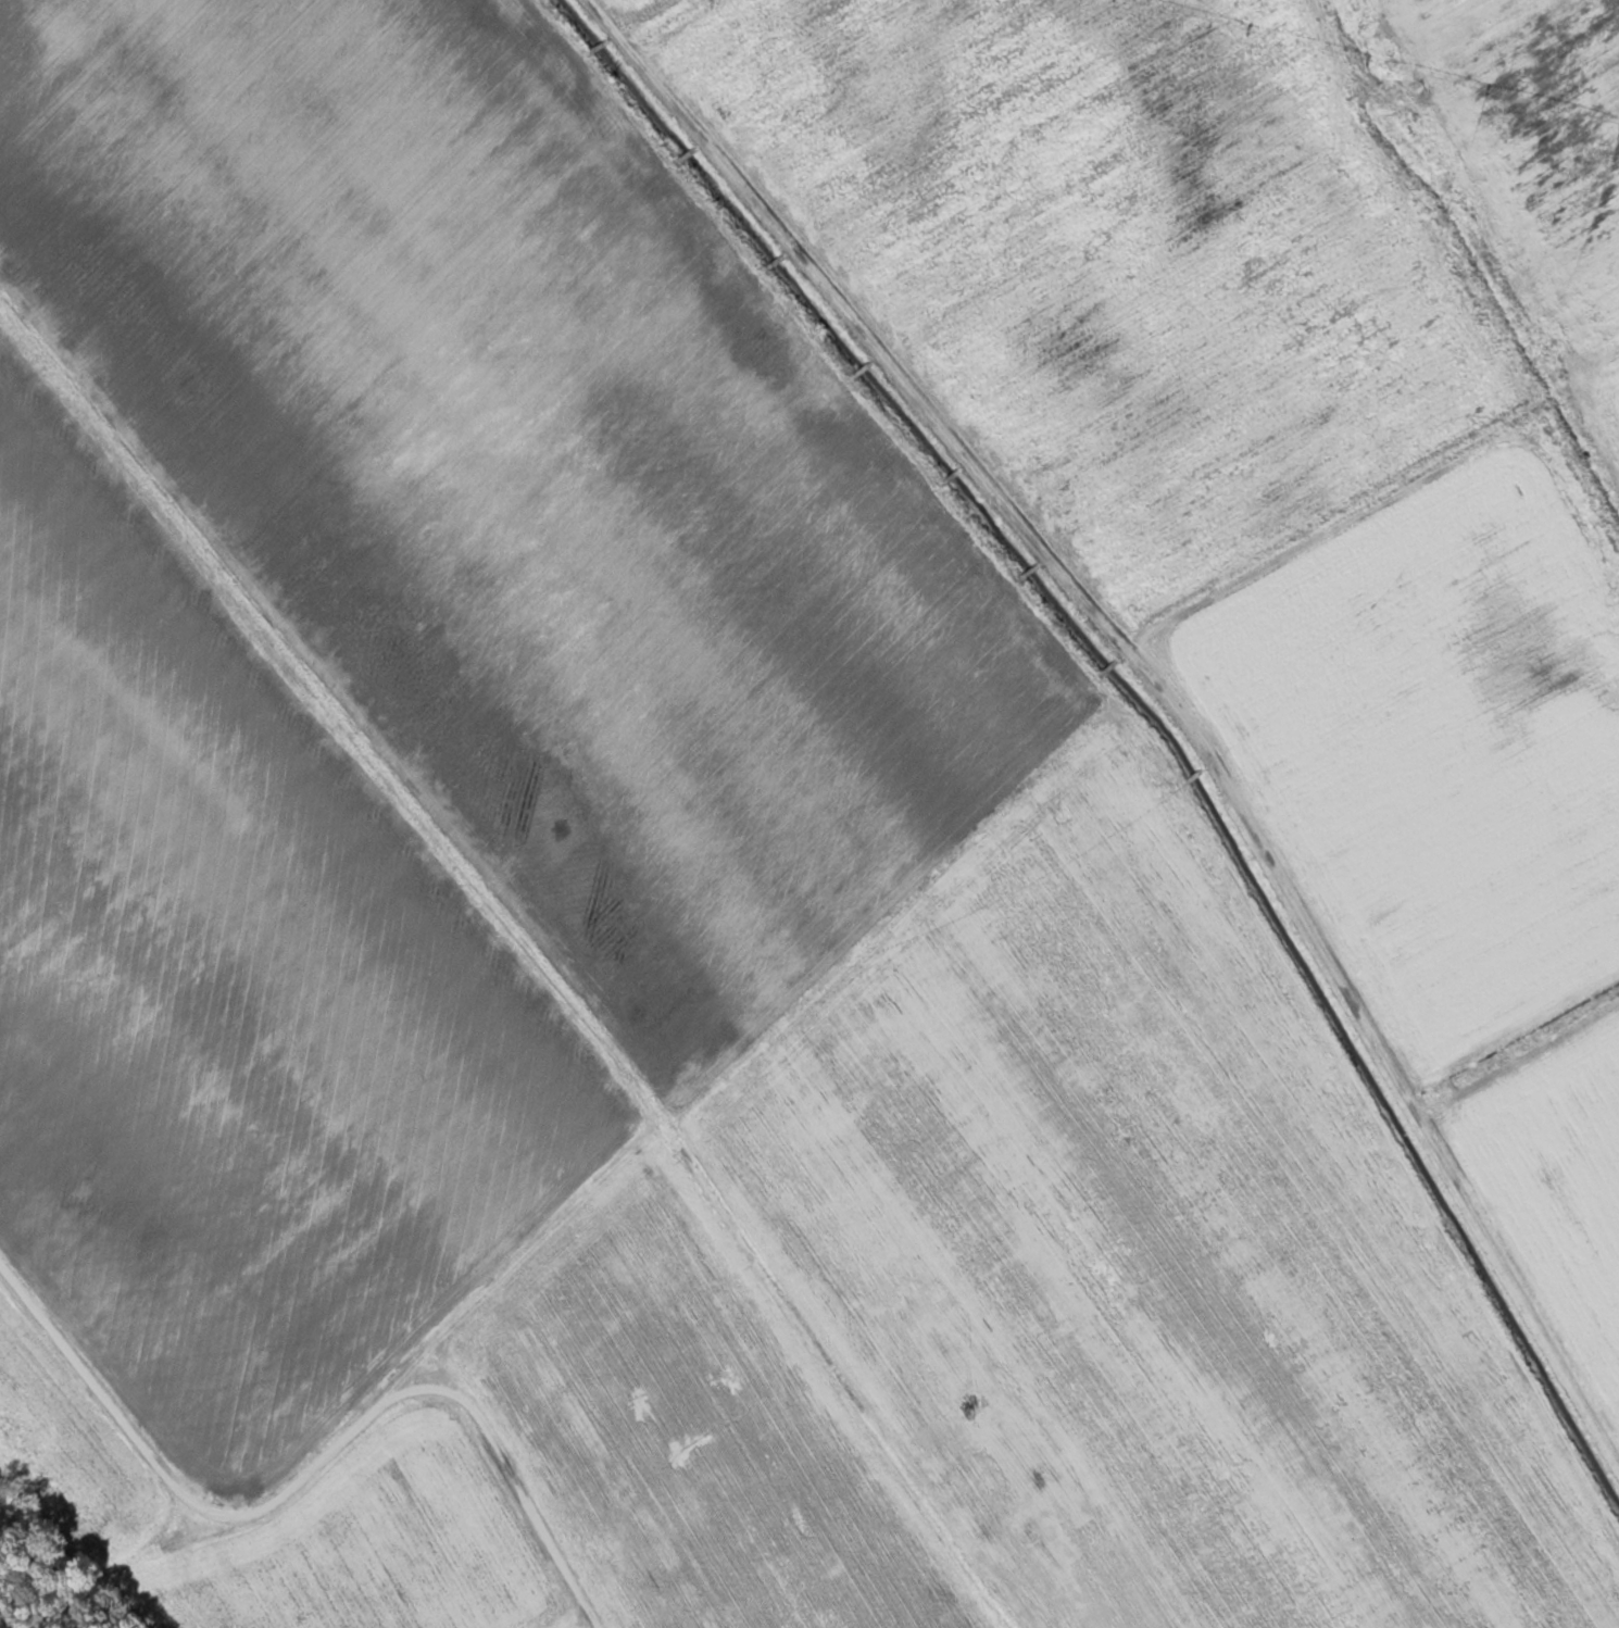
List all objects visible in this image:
road: (266, 1348)

